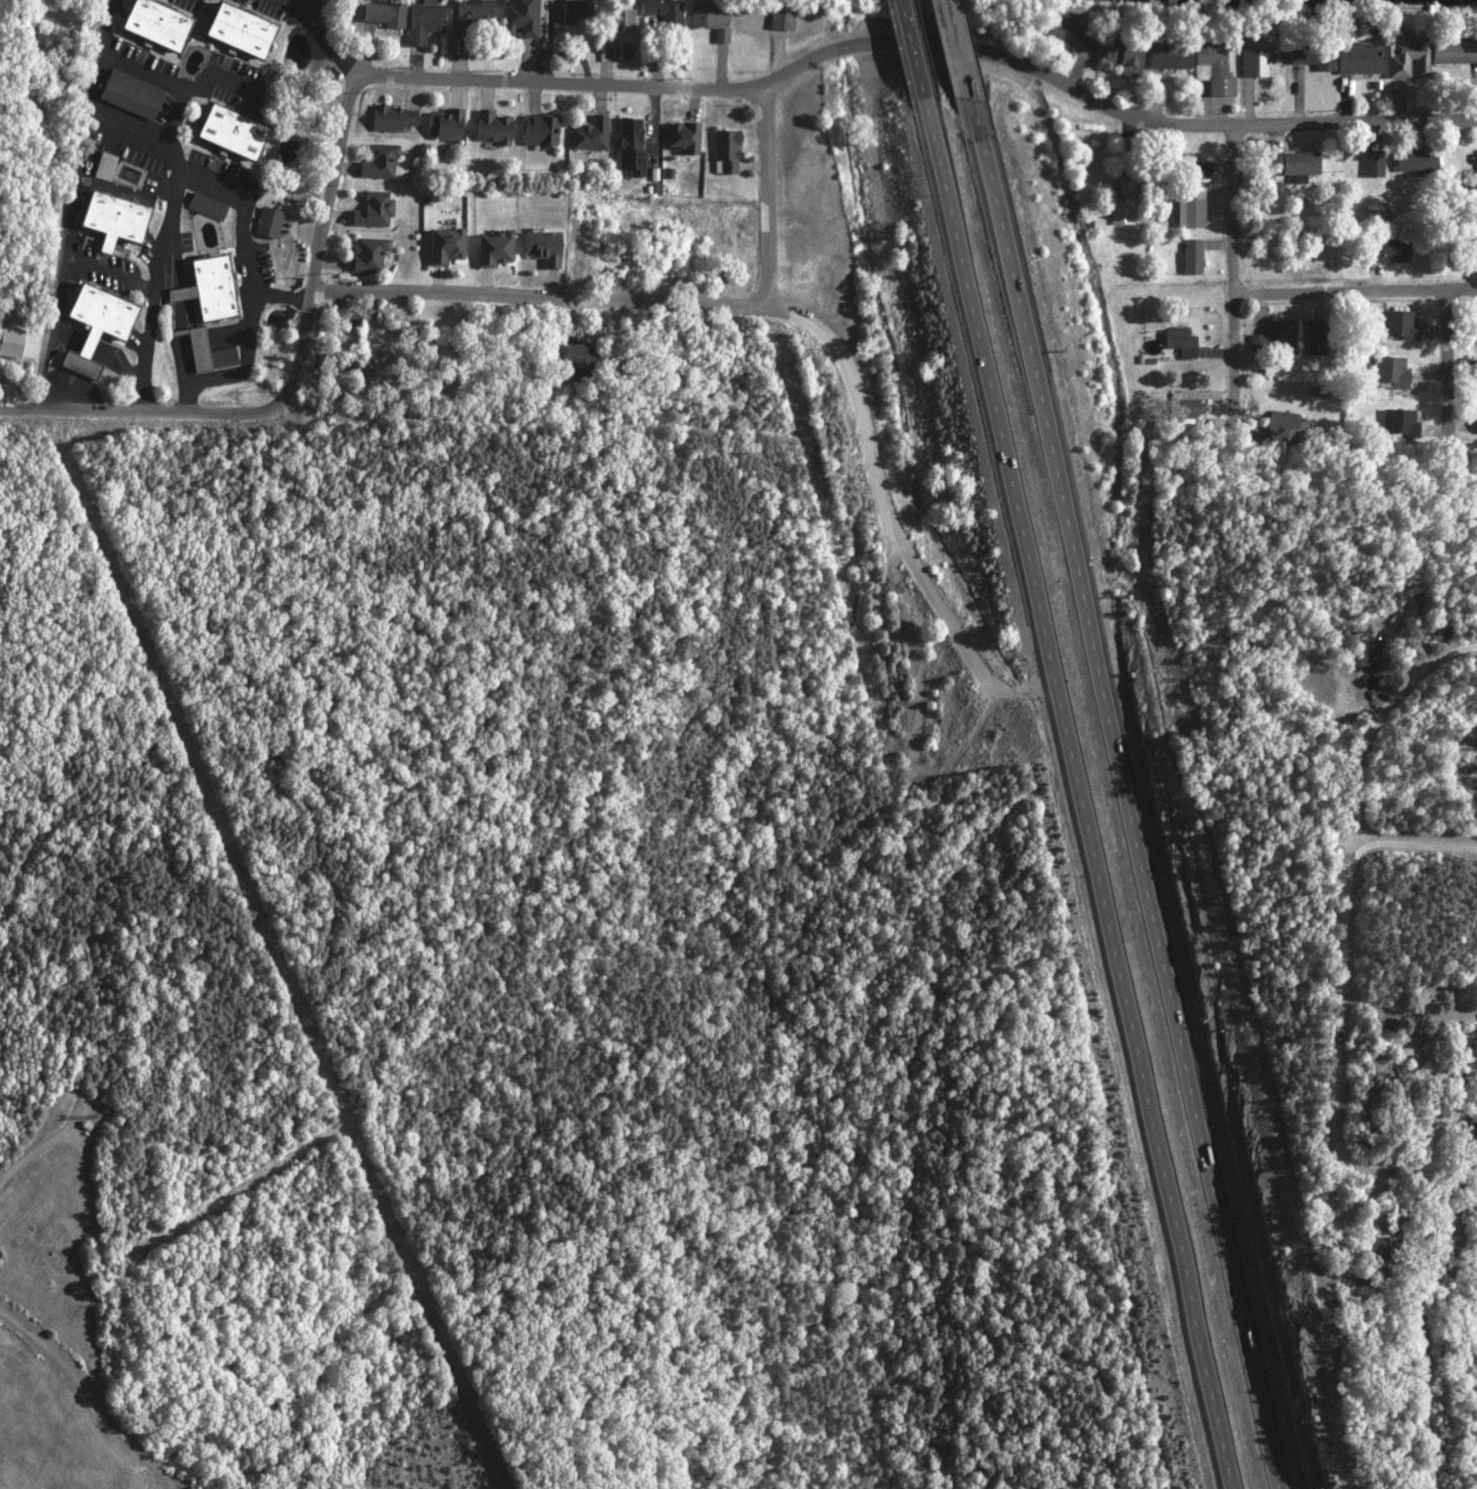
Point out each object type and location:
road: (298, 7)
building: (573, 11)
building: (382, 12)
building: (711, 13)
building: (470, 14)
building: (783, 16)
building: (519, 17)
building: (618, 17)
building: (421, 20)
building: (152, 21)
building: (1070, 32)
building: (723, 33)
road: (925, 43)
road: (327, 44)
building: (625, 49)
building: (1122, 50)
building: (1454, 50)
road: (912, 51)
building: (1168, 54)
building: (1313, 55)
building: (1358, 57)
building: (1255, 58)
building: (1407, 58)
building: (1212, 65)
road: (961, 72)
building: (129, 92)
building: (391, 117)
building: (444, 123)
building: (491, 126)
building: (539, 128)
building: (227, 129)
building: (589, 133)
building: (682, 135)
building: (630, 145)
building: (726, 149)
building: (378, 159)
building: (1416, 159)
building: (1292, 161)
building: (1374, 161)
building: (104, 165)
building: (1188, 166)
road: (340, 180)
road: (771, 196)
building: (1122, 203)
road: (70, 204)
building: (206, 205)
building: (1191, 207)
building: (373, 209)
building: (110, 217)
building: (268, 221)
building: (1098, 221)
road: (168, 224)
road: (246, 233)
building: (444, 244)
building: (491, 246)
building: (541, 246)
building: (1388, 248)
building: (368, 253)
building: (1192, 255)
road: (1238, 279)
building: (207, 286)
road: (1358, 290)
road: (804, 316)
building: (1476, 321)
building: (1402, 322)
building: (92, 324)
building: (1278, 335)
building: (376, 336)
building: (9, 341)
building: (1181, 341)
building: (207, 351)
building: (580, 354)
road: (241, 362)
road: (1454, 364)
building: (368, 367)
building: (1392, 371)
building: (1184, 407)
road: (207, 413)
building: (1402, 422)
building: (1284, 423)
road: (1052, 568)
building: (1366, 653)
road: (1080, 795)
road: (1132, 816)
road: (1418, 835)
road: (1350, 910)
road: (1411, 944)
building: (1382, 1040)
building: (1468, 1051)
building: (1376, 1069)
building: (1469, 1133)
building: (1374, 1247)
airport: (42, 1465)

